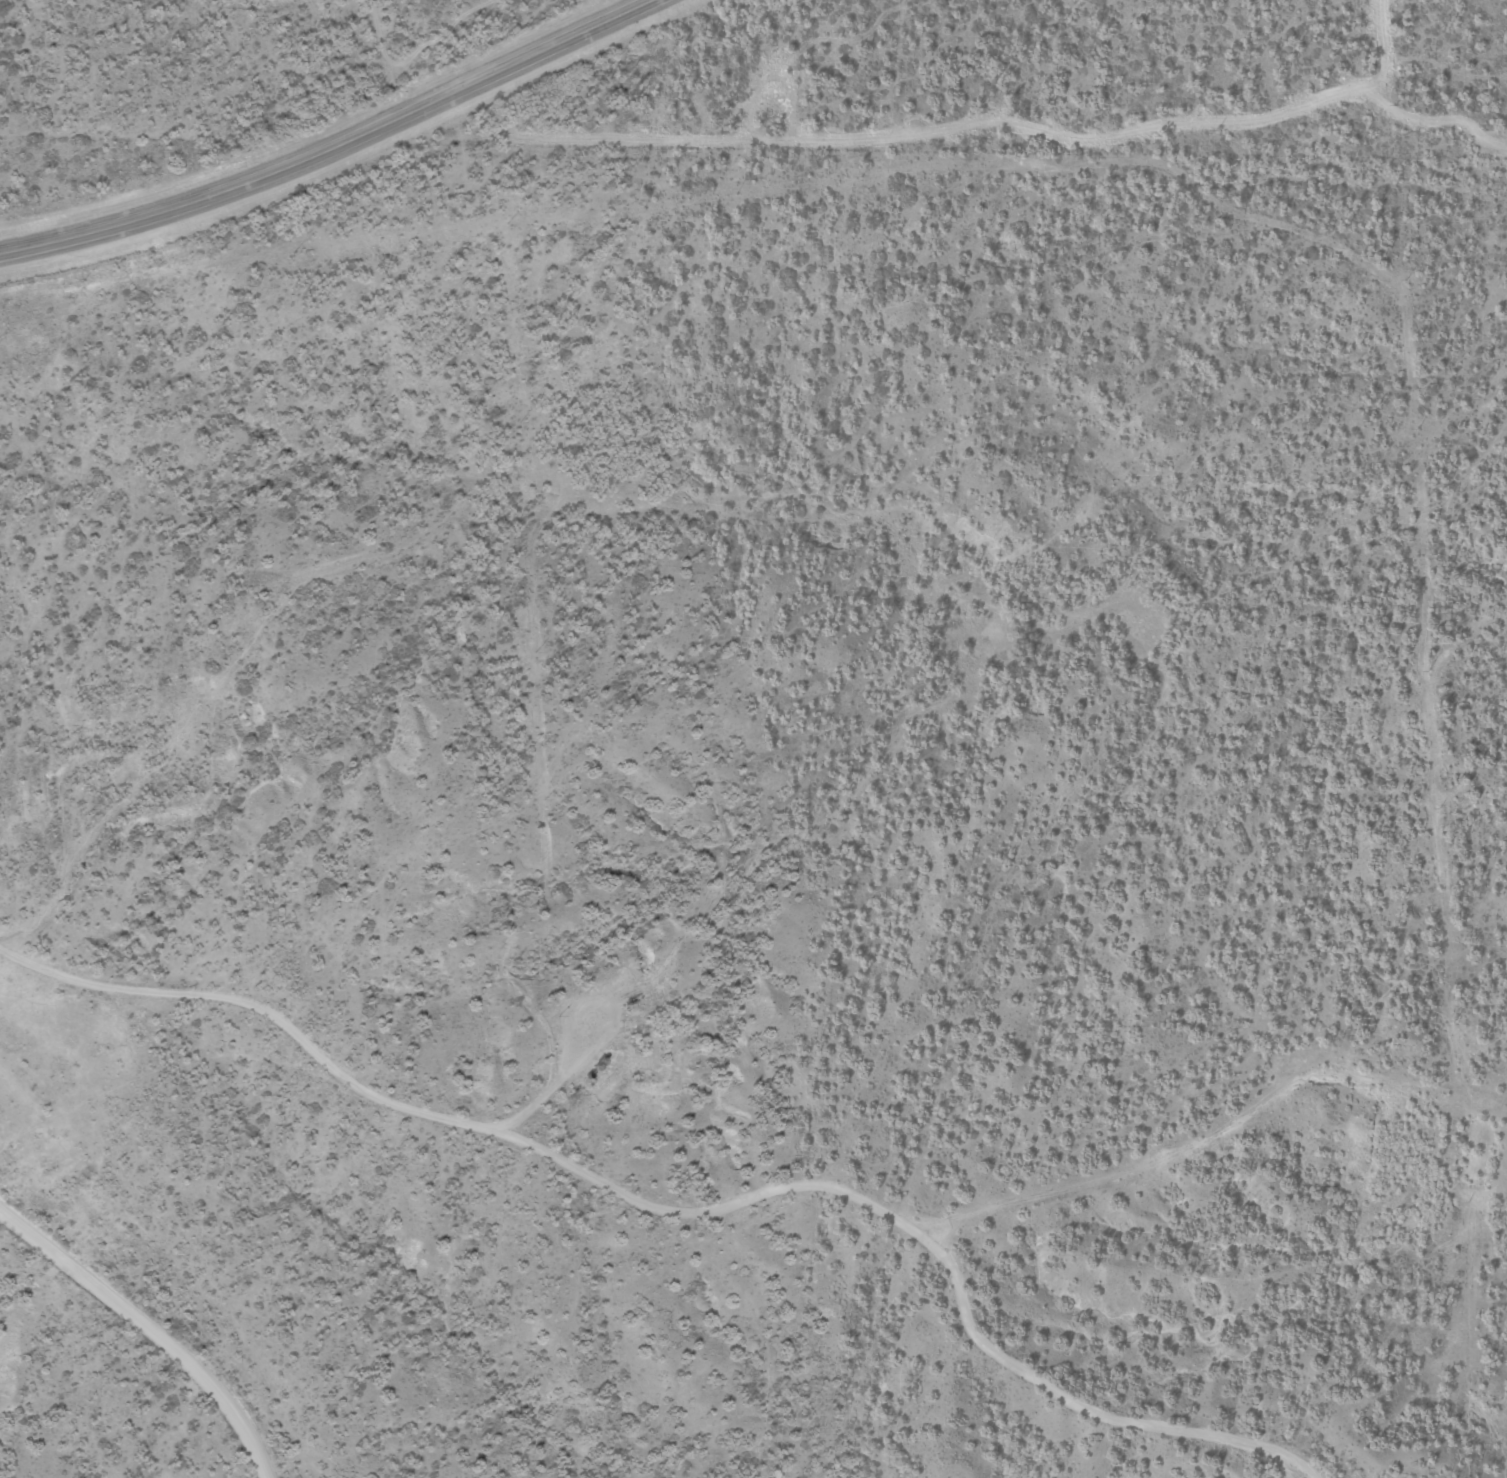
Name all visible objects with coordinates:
road: (331, 147)
road: (934, 904)
road: (409, 1080)
road: (153, 1325)
road: (1025, 1362)

